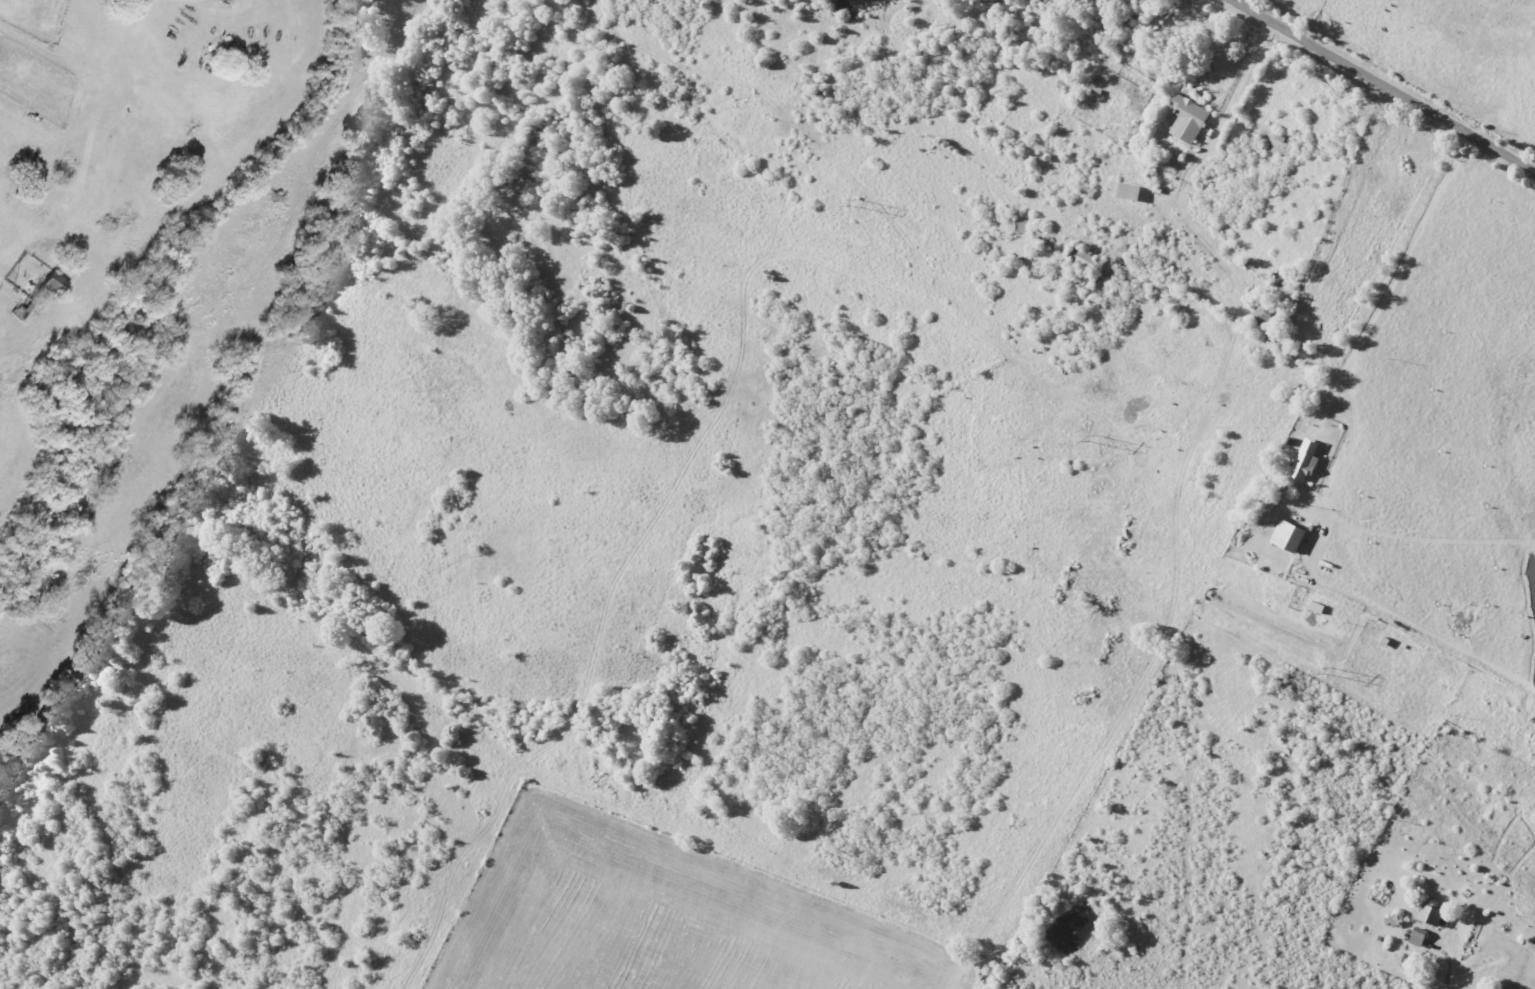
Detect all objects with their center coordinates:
road: (1382, 85)
building: (1189, 119)
road: (1196, 173)
power tower: (852, 202)
road: (1398, 277)
power tower: (1091, 439)
building: (1308, 461)
building: (1291, 536)
road: (1451, 646)
power tower: (1325, 671)
building: (1434, 914)
building: (1420, 937)
road: (1457, 987)

